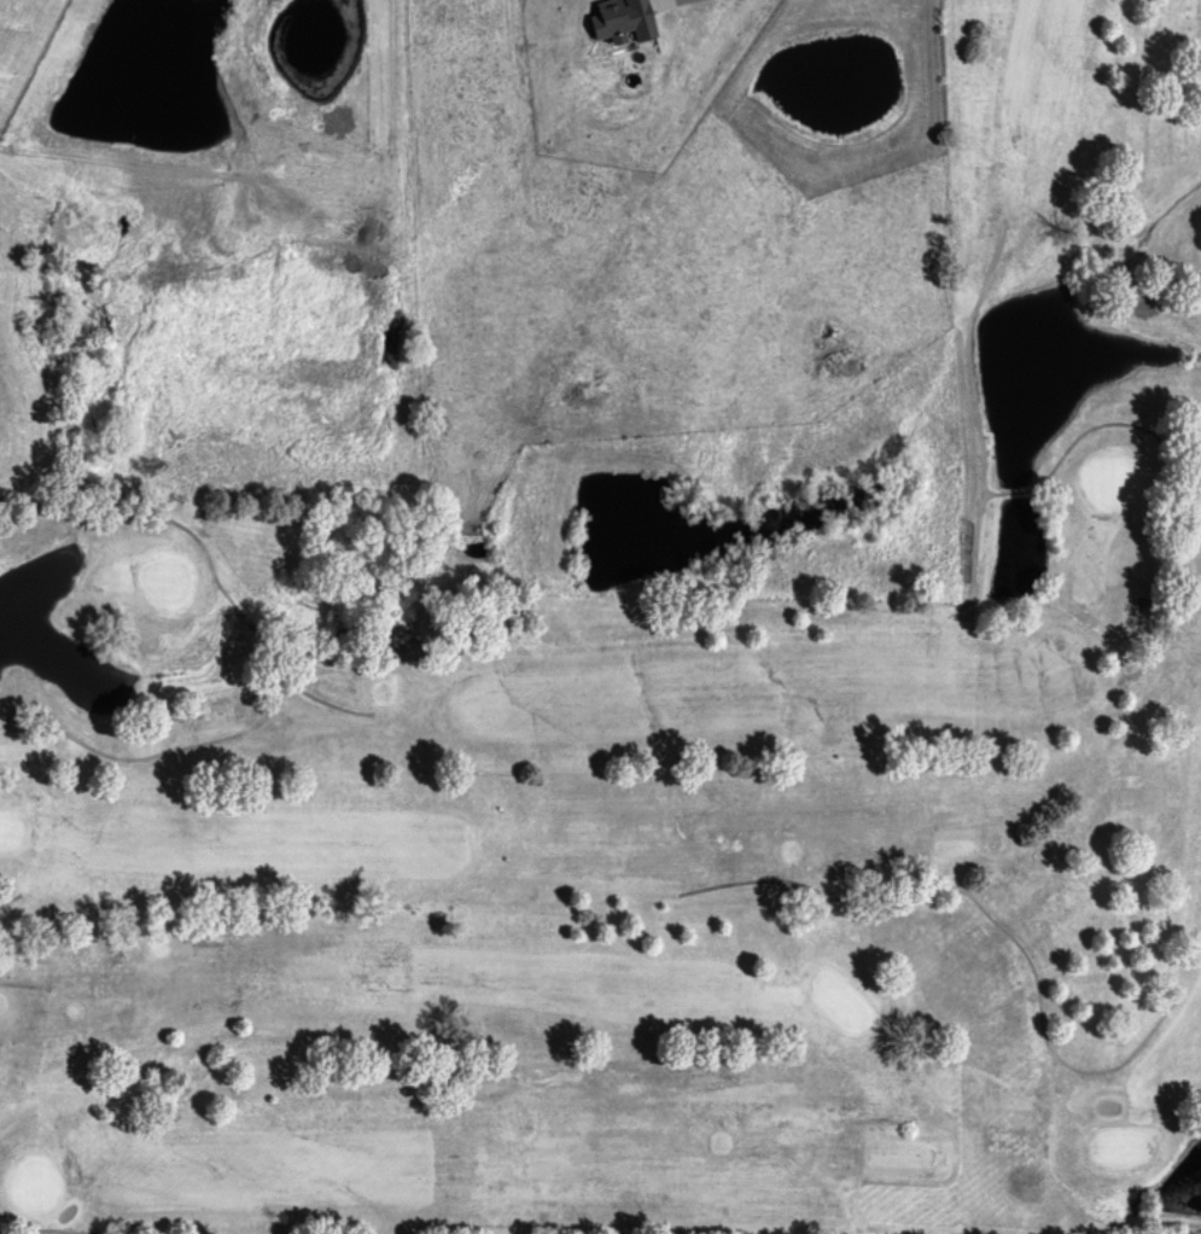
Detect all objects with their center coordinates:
road: (964, 354)
road: (1130, 424)
road: (209, 565)
road: (165, 751)
park: (666, 801)
road: (7, 900)
road: (21, 983)
road: (130, 1233)

